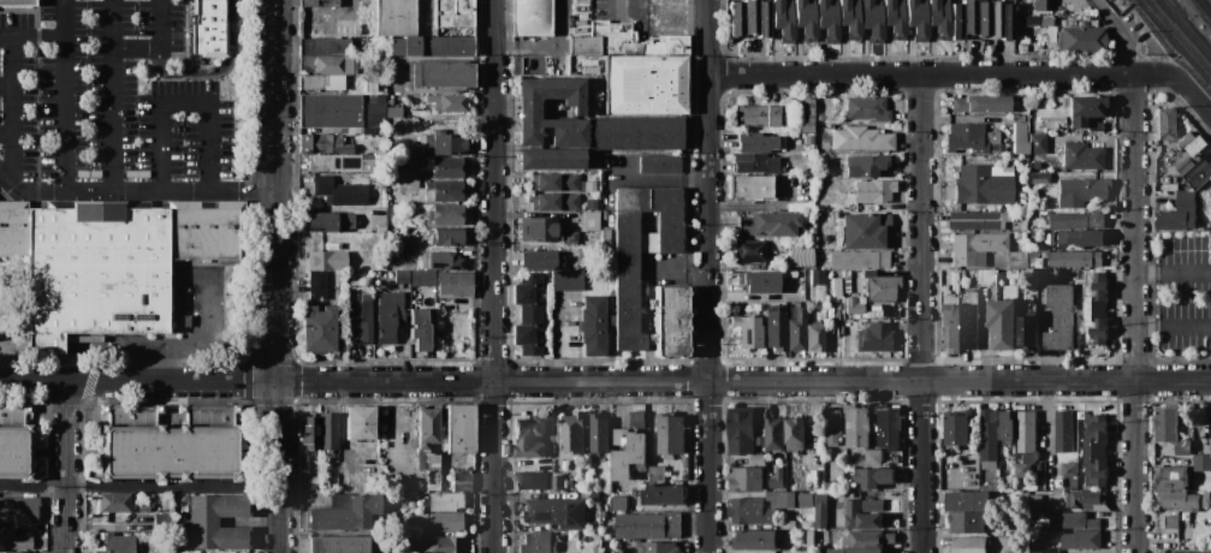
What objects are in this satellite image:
building: (18, 2)
building: (317, 2)
road: (616, 2)
building: (1043, 5)
railway: (1203, 8)
building: (396, 17)
building: (453, 17)
building: (529, 17)
building: (750, 17)
building: (969, 17)
building: (736, 18)
building: (764, 18)
building: (849, 18)
building: (894, 18)
building: (938, 18)
building: (984, 18)
building: (996, 18)
building: (783, 19)
building: (805, 19)
building: (916, 19)
building: (827, 20)
building: (872, 20)
building: (956, 20)
building: (1007, 20)
building: (1045, 22)
road: (708, 25)
building: (208, 28)
railway: (1183, 31)
road: (1121, 32)
building: (1081, 40)
railway: (1175, 41)
road: (38, 42)
building: (582, 44)
building: (431, 46)
building: (1023, 46)
road: (160, 47)
building: (332, 47)
building: (333, 65)
building: (641, 71)
building: (443, 75)
road: (922, 75)
road: (7, 82)
building: (321, 82)
road: (1180, 83)
building: (384, 84)
road: (60, 91)
road: (112, 91)
parking lot: (121, 99)
road: (182, 101)
building: (431, 103)
building: (452, 103)
building: (980, 103)
road: (16, 105)
building: (867, 108)
building: (342, 111)
building: (528, 111)
building: (394, 112)
building: (1082, 112)
building: (755, 115)
building: (805, 115)
building: (1031, 117)
building: (1020, 118)
building: (1165, 124)
road: (7, 127)
building: (349, 131)
building: (1020, 131)
building: (634, 132)
building: (966, 137)
building: (861, 138)
building: (1186, 139)
building: (992, 141)
building: (303, 143)
building: (755, 143)
building: (1038, 143)
building: (330, 144)
building: (444, 144)
building: (1020, 147)
building: (1197, 147)
building: (1158, 148)
building: (808, 149)
building: (1082, 156)
building: (304, 157)
building: (1180, 157)
building: (550, 159)
building: (337, 162)
building: (659, 163)
building: (755, 163)
building: (866, 165)
building: (445, 167)
building: (995, 170)
building: (1007, 170)
building: (1195, 172)
building: (83, 173)
building: (95, 173)
building: (130, 173)
building: (142, 173)
building: (1039, 178)
building: (408, 182)
road: (133, 183)
building: (553, 183)
building: (983, 185)
building: (749, 186)
building: (340, 191)
building: (443, 191)
building: (873, 191)
building: (1080, 191)
building: (554, 201)
road: (756, 203)
building: (447, 214)
building: (1179, 214)
building: (379, 220)
building: (590, 220)
building: (978, 220)
building: (1075, 220)
building: (321, 221)
building: (343, 224)
building: (770, 224)
building: (538, 228)
building: (866, 231)
building: (446, 236)
building: (571, 237)
building: (1081, 238)
building: (606, 243)
building: (648, 243)
building: (333, 246)
building: (548, 246)
building: (975, 248)
building: (1210, 248)
building: (749, 250)
building: (1033, 255)
building: (801, 257)
building: (1075, 258)
building: (326, 260)
building: (441, 260)
building: (538, 260)
building: (859, 260)
building: (109, 261)
building: (171, 269)
building: (868, 272)
road: (1174, 272)
building: (962, 273)
building: (847, 274)
building: (1044, 274)
building: (1051, 274)
building: (402, 275)
road: (493, 275)
road: (273, 276)
building: (423, 276)
building: (818, 276)
building: (987, 278)
building: (0, 280)
building: (568, 280)
building: (760, 281)
building: (316, 283)
building: (880, 287)
building: (455, 291)
building: (627, 293)
building: (790, 297)
building: (954, 299)
road: (708, 302)
building: (854, 304)
building: (1094, 308)
building: (527, 314)
road: (921, 314)
road: (1136, 314)
building: (388, 316)
building: (1059, 316)
building: (360, 319)
building: (1080, 320)
building: (670, 321)
building: (969, 321)
building: (1002, 325)
building: (593, 326)
building: (774, 327)
road: (1174, 327)
building: (317, 329)
building: (420, 329)
building: (950, 329)
building: (796, 331)
building: (1027, 331)
building: (748, 332)
building: (814, 337)
building: (875, 337)
building: (850, 344)
road: (203, 347)
road: (605, 381)
building: (1210, 416)
building: (637, 420)
building: (360, 422)
building: (1165, 423)
building: (832, 426)
building: (856, 427)
building: (889, 427)
building: (427, 428)
building: (459, 428)
building: (1005, 428)
building: (309, 430)
building: (327, 430)
building: (759, 430)
building: (956, 430)
building: (741, 432)
building: (1026, 433)
building: (1064, 433)
building: (572, 434)
building: (599, 434)
building: (670, 435)
building: (774, 435)
building: (794, 435)
building: (989, 435)
building: (529, 436)
building: (14, 442)
building: (171, 444)
building: (1182, 448)
building: (1096, 451)
building: (628, 453)
building: (423, 457)
building: (873, 458)
building: (1029, 458)
building: (756, 460)
building: (895, 460)
building: (848, 462)
building: (859, 463)
building: (1201, 463)
building: (564, 465)
building: (989, 465)
road: (66, 468)
building: (1033, 469)
building: (1040, 469)
building: (1068, 470)
building: (1021, 471)
building: (655, 475)
building: (812, 476)
building: (873, 477)
building: (1171, 478)
building: (309, 480)
building: (744, 480)
building: (776, 480)
building: (462, 481)
building: (532, 481)
building: (557, 482)
building: (400, 483)
building: (568, 483)
building: (322, 486)
building: (411, 486)
building: (830, 486)
road: (137, 487)
building: (641, 487)
building: (996, 488)
building: (665, 496)
building: (1207, 496)
building: (338, 500)
building: (404, 500)
building: (789, 500)
building: (1085, 500)
building: (1177, 500)
building: (444, 501)
building: (968, 501)
building: (1035, 501)
building: (114, 503)
building: (618, 505)
building: (18, 509)
building: (819, 511)
building: (545, 512)
building: (750, 512)
building: (346, 513)
building: (866, 515)
building: (405, 519)
building: (588, 521)
building: (1073, 521)
building: (203, 522)
building: (445, 522)
building: (836, 522)
building: (1171, 522)
building: (162, 523)
building: (966, 523)
building: (648, 527)
building: (571, 528)
building: (13, 540)
building: (755, 540)
building: (809, 540)
building: (868, 540)
building: (1081, 541)
building: (113, 543)
building: (538, 543)
building: (338, 545)
building: (439, 545)
building: (969, 545)
building: (658, 547)
building: (596, 549)
building: (860, 551)
building: (1046, 551)
building: (12, 552)
building: (1167, 552)

